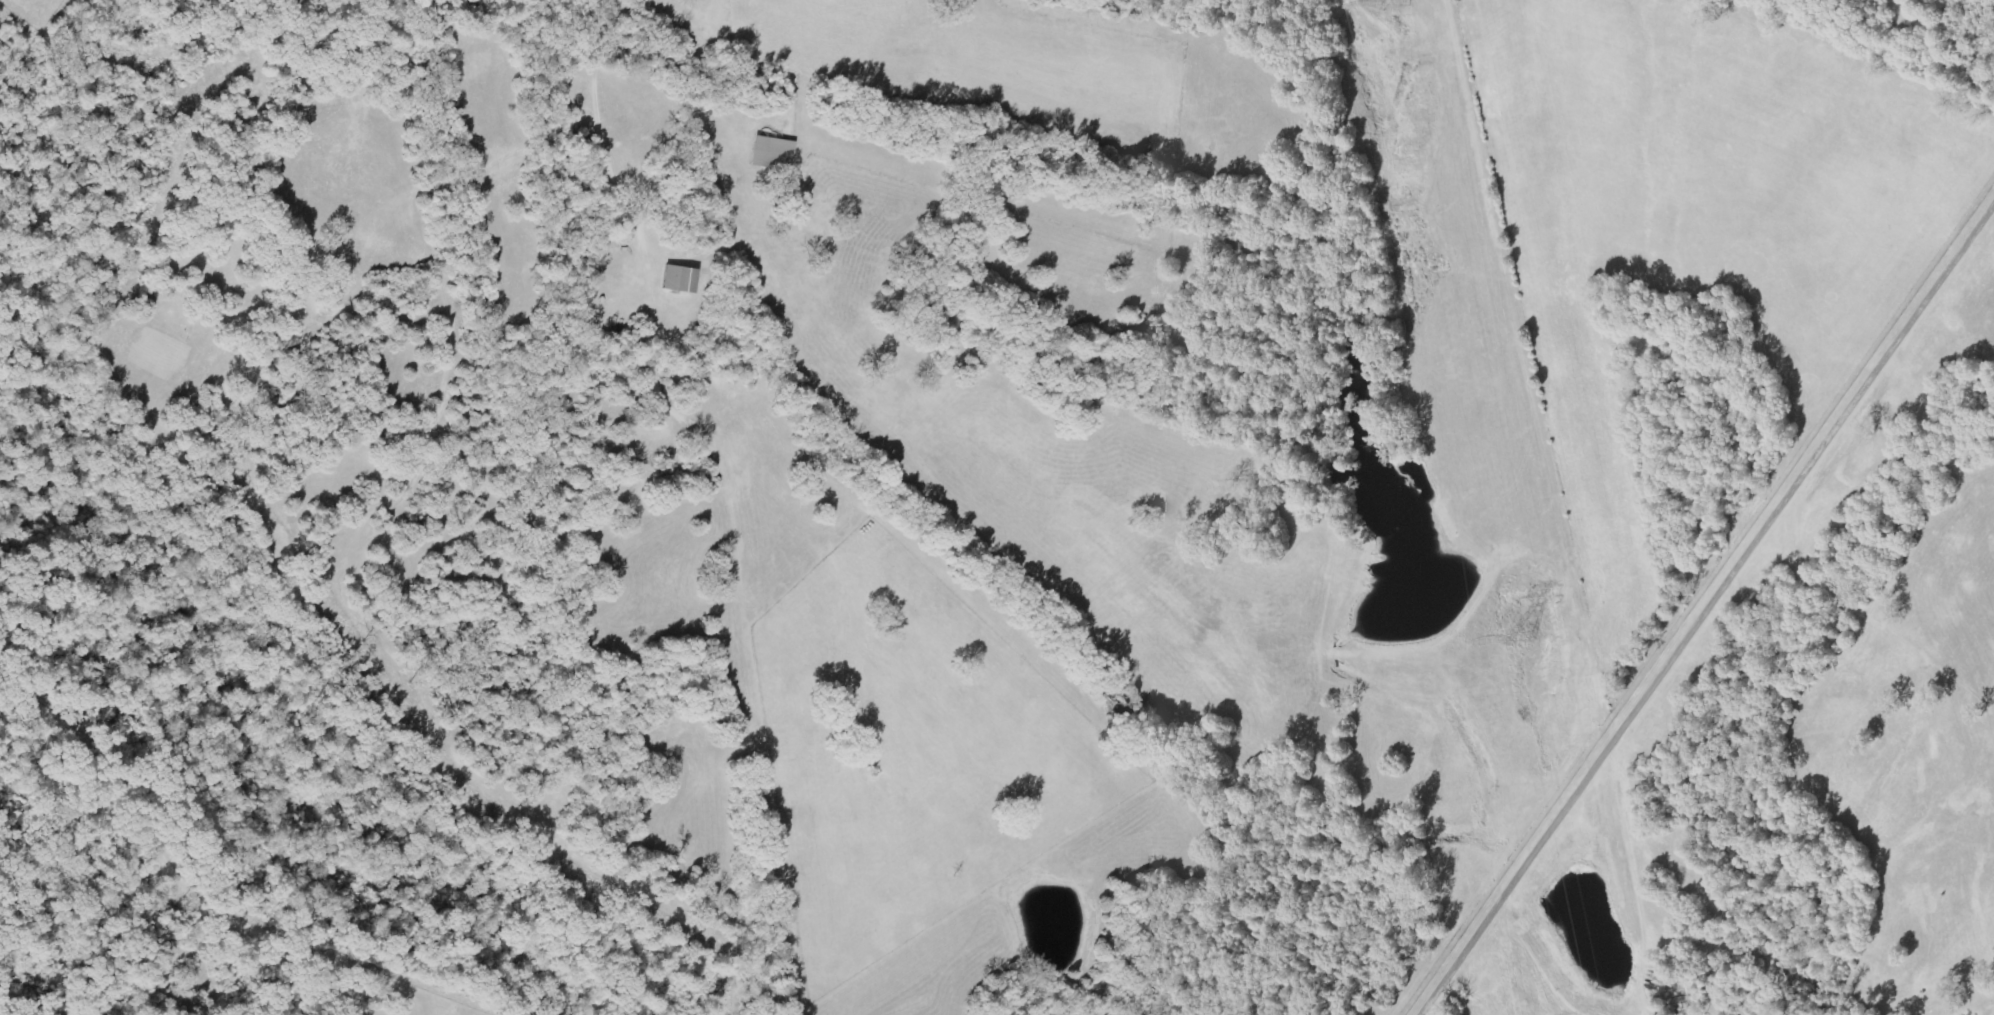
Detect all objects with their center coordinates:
power tower: (1395, 4)
building: (772, 155)
road: (1179, 182)
building: (678, 280)
power tower: (1516, 639)

